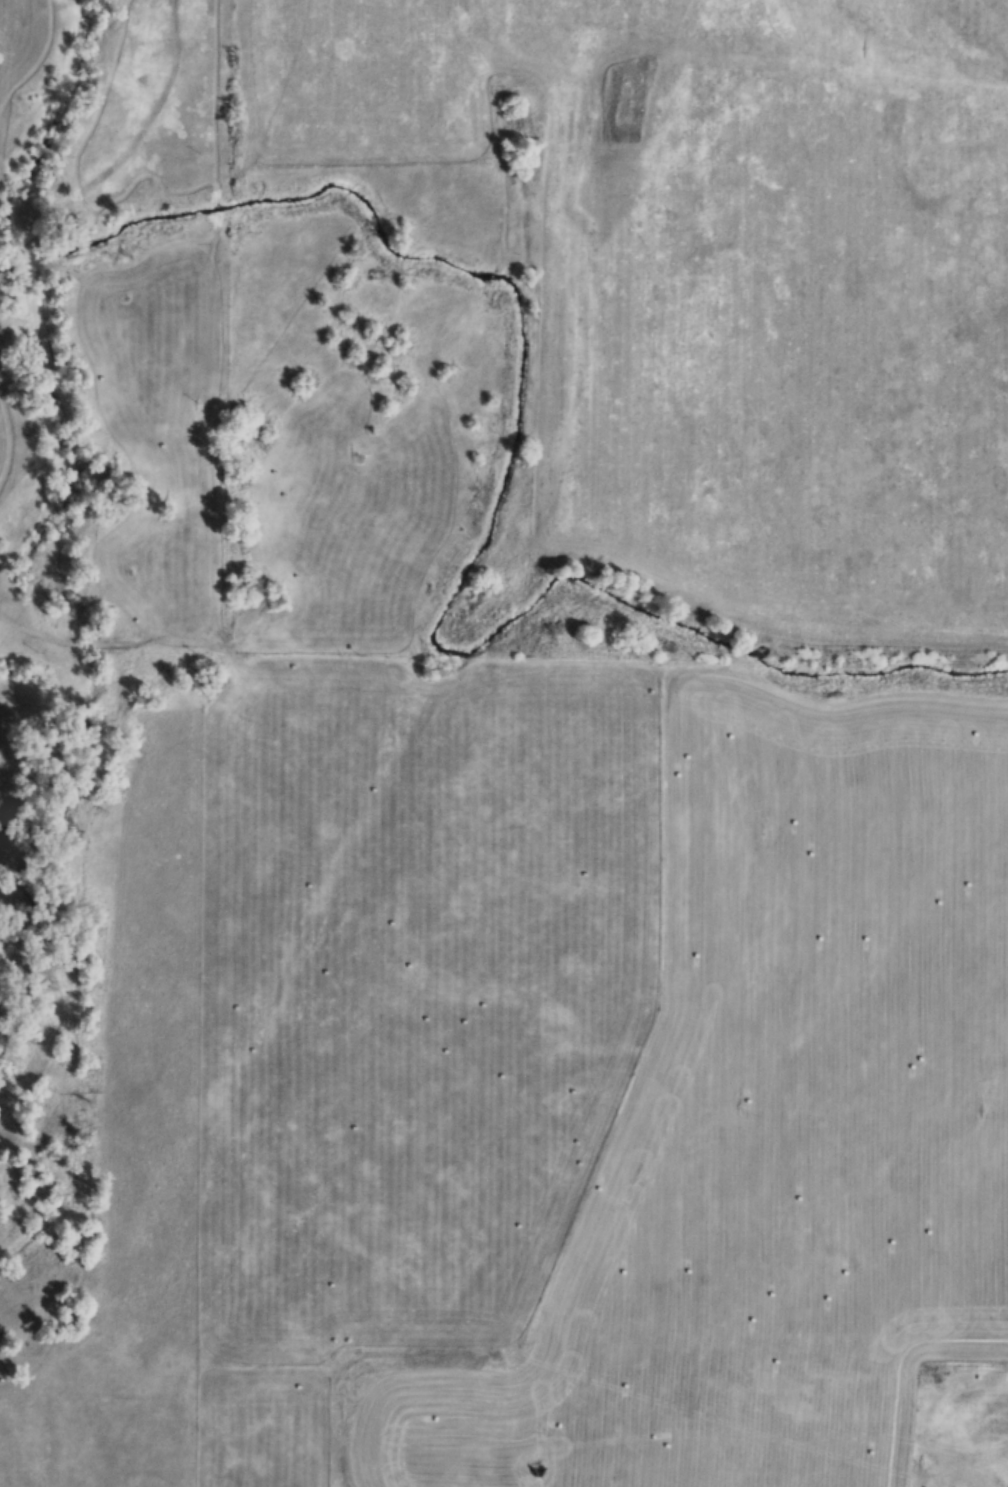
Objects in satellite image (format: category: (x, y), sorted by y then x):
crop: (735, 275)

